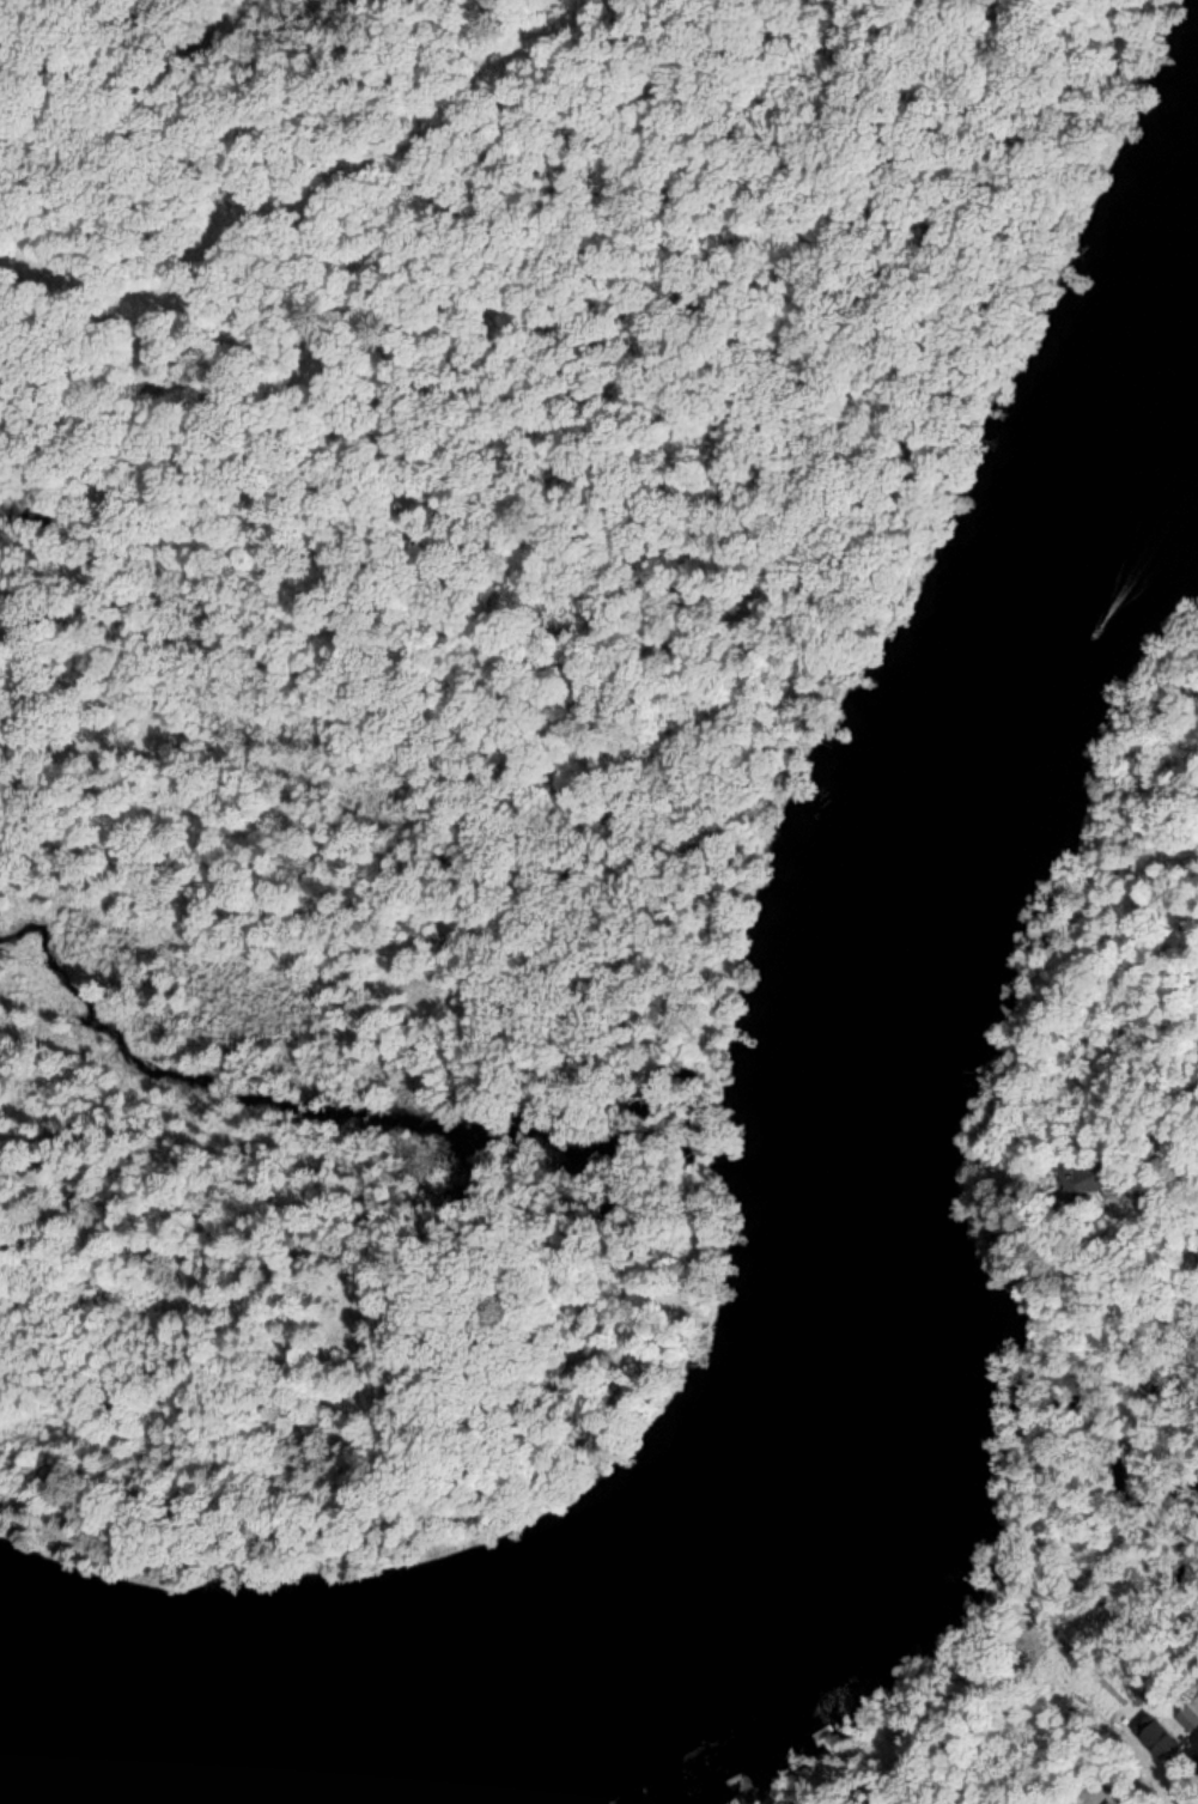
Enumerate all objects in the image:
road: (646, 888)
building: (1097, 1179)
river: (869, 1343)
building: (1162, 1742)

